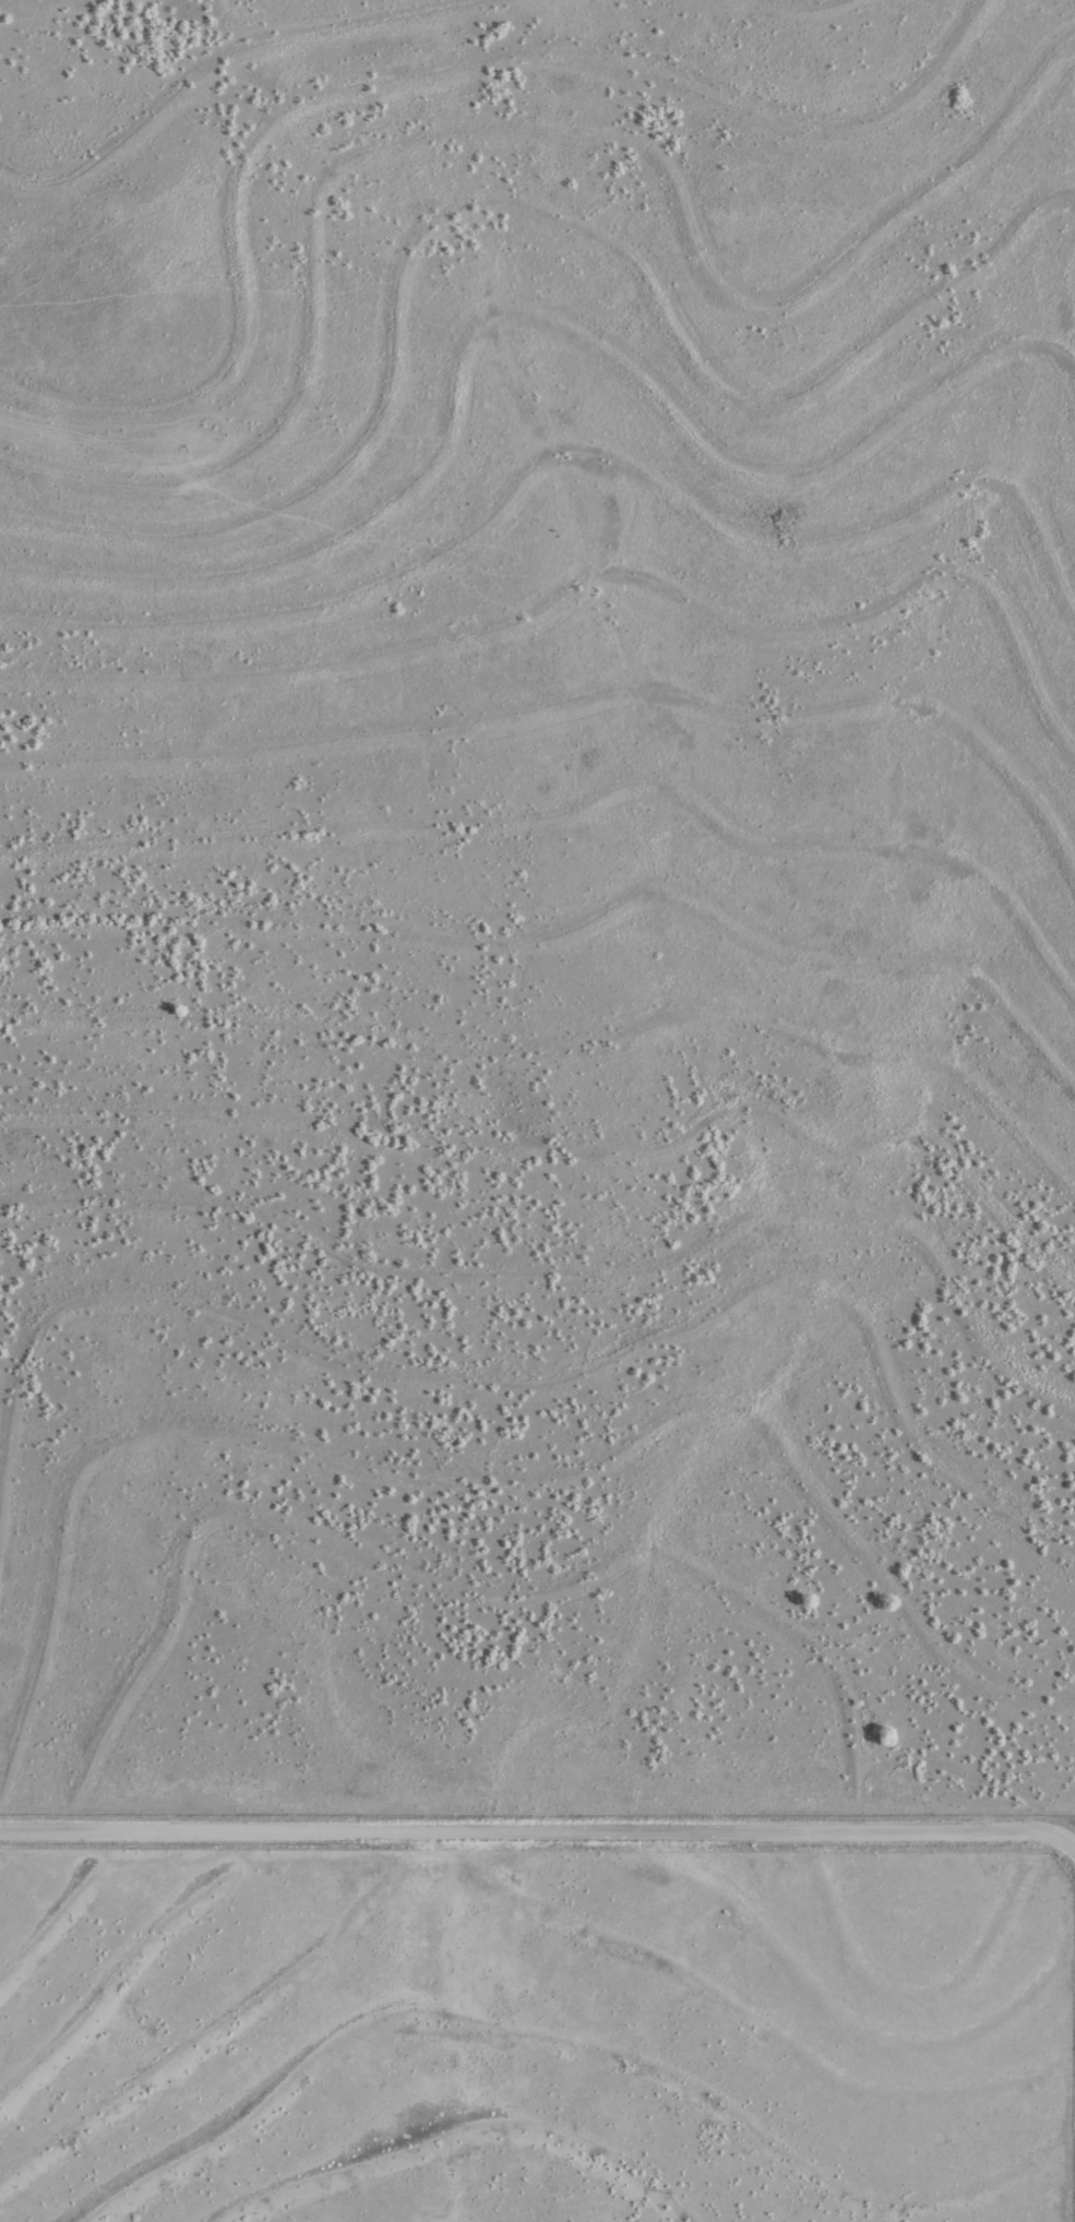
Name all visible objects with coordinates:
road: (539, 1827)

